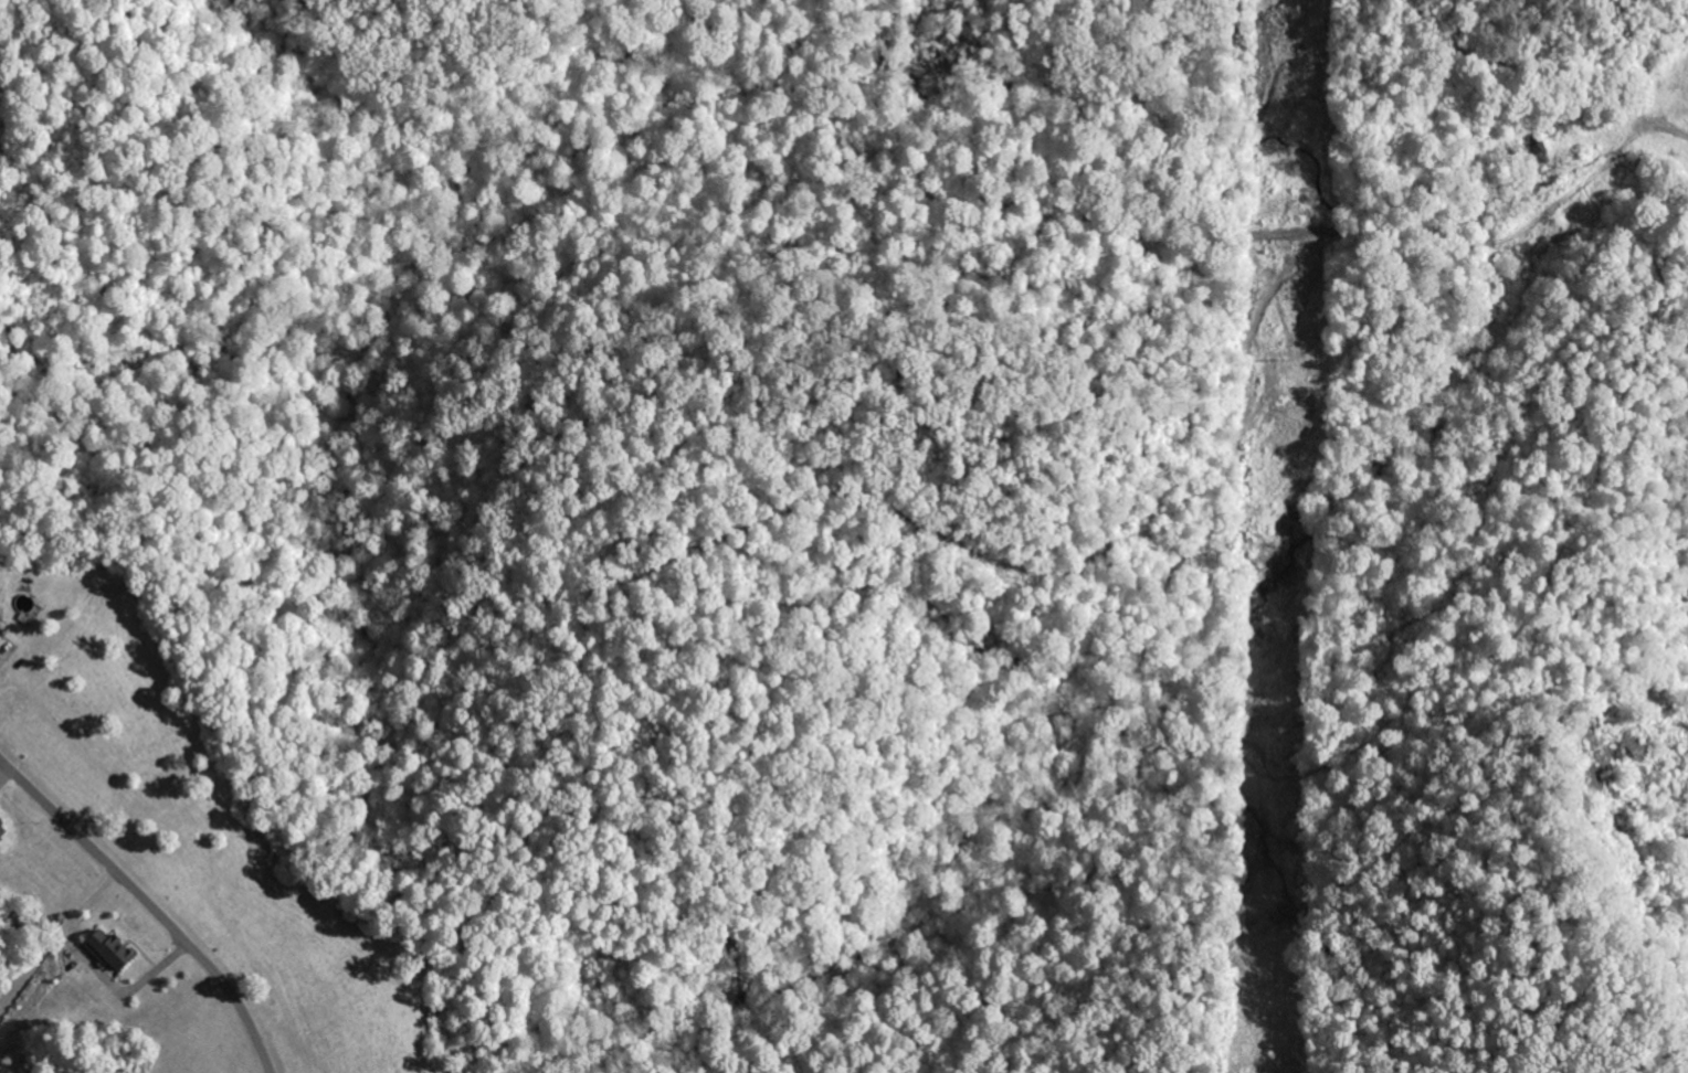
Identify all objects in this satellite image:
road: (641, 251)
building: (0, 631)
road: (95, 735)
building: (1, 830)
building: (105, 949)

